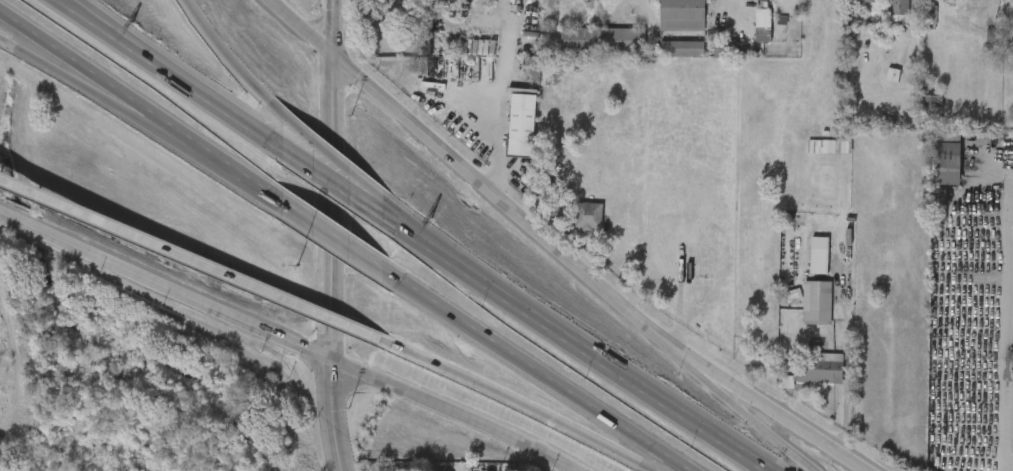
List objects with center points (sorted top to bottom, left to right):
building: (763, 0)
building: (863, 1)
building: (851, 5)
building: (899, 10)
building: (885, 14)
building: (683, 15)
building: (761, 25)
building: (749, 33)
building: (603, 39)
building: (683, 48)
building: (727, 48)
road: (29, 55)
building: (668, 56)
road: (231, 60)
building: (534, 66)
road: (169, 76)
road: (106, 96)
building: (930, 98)
building: (917, 108)
road: (139, 110)
building: (526, 122)
building: (509, 133)
building: (831, 145)
building: (947, 149)
building: (815, 154)
road: (985, 164)
road: (334, 167)
road: (332, 178)
road: (334, 185)
building: (555, 205)
building: (938, 206)
building: (541, 213)
building: (589, 215)
building: (575, 223)
road: (334, 234)
road: (553, 249)
building: (817, 257)
road: (191, 260)
building: (804, 263)
road: (165, 284)
building: (1012, 293)
building: (812, 298)
building: (779, 303)
road: (999, 344)
road: (573, 345)
road: (849, 364)
building: (812, 368)
road: (534, 369)
road: (725, 391)
road: (519, 402)
road: (454, 412)
road: (335, 414)
building: (74, 437)
road: (779, 442)
building: (31, 458)
building: (396, 469)
building: (446, 469)
building: (404, 470)
road: (813, 470)

